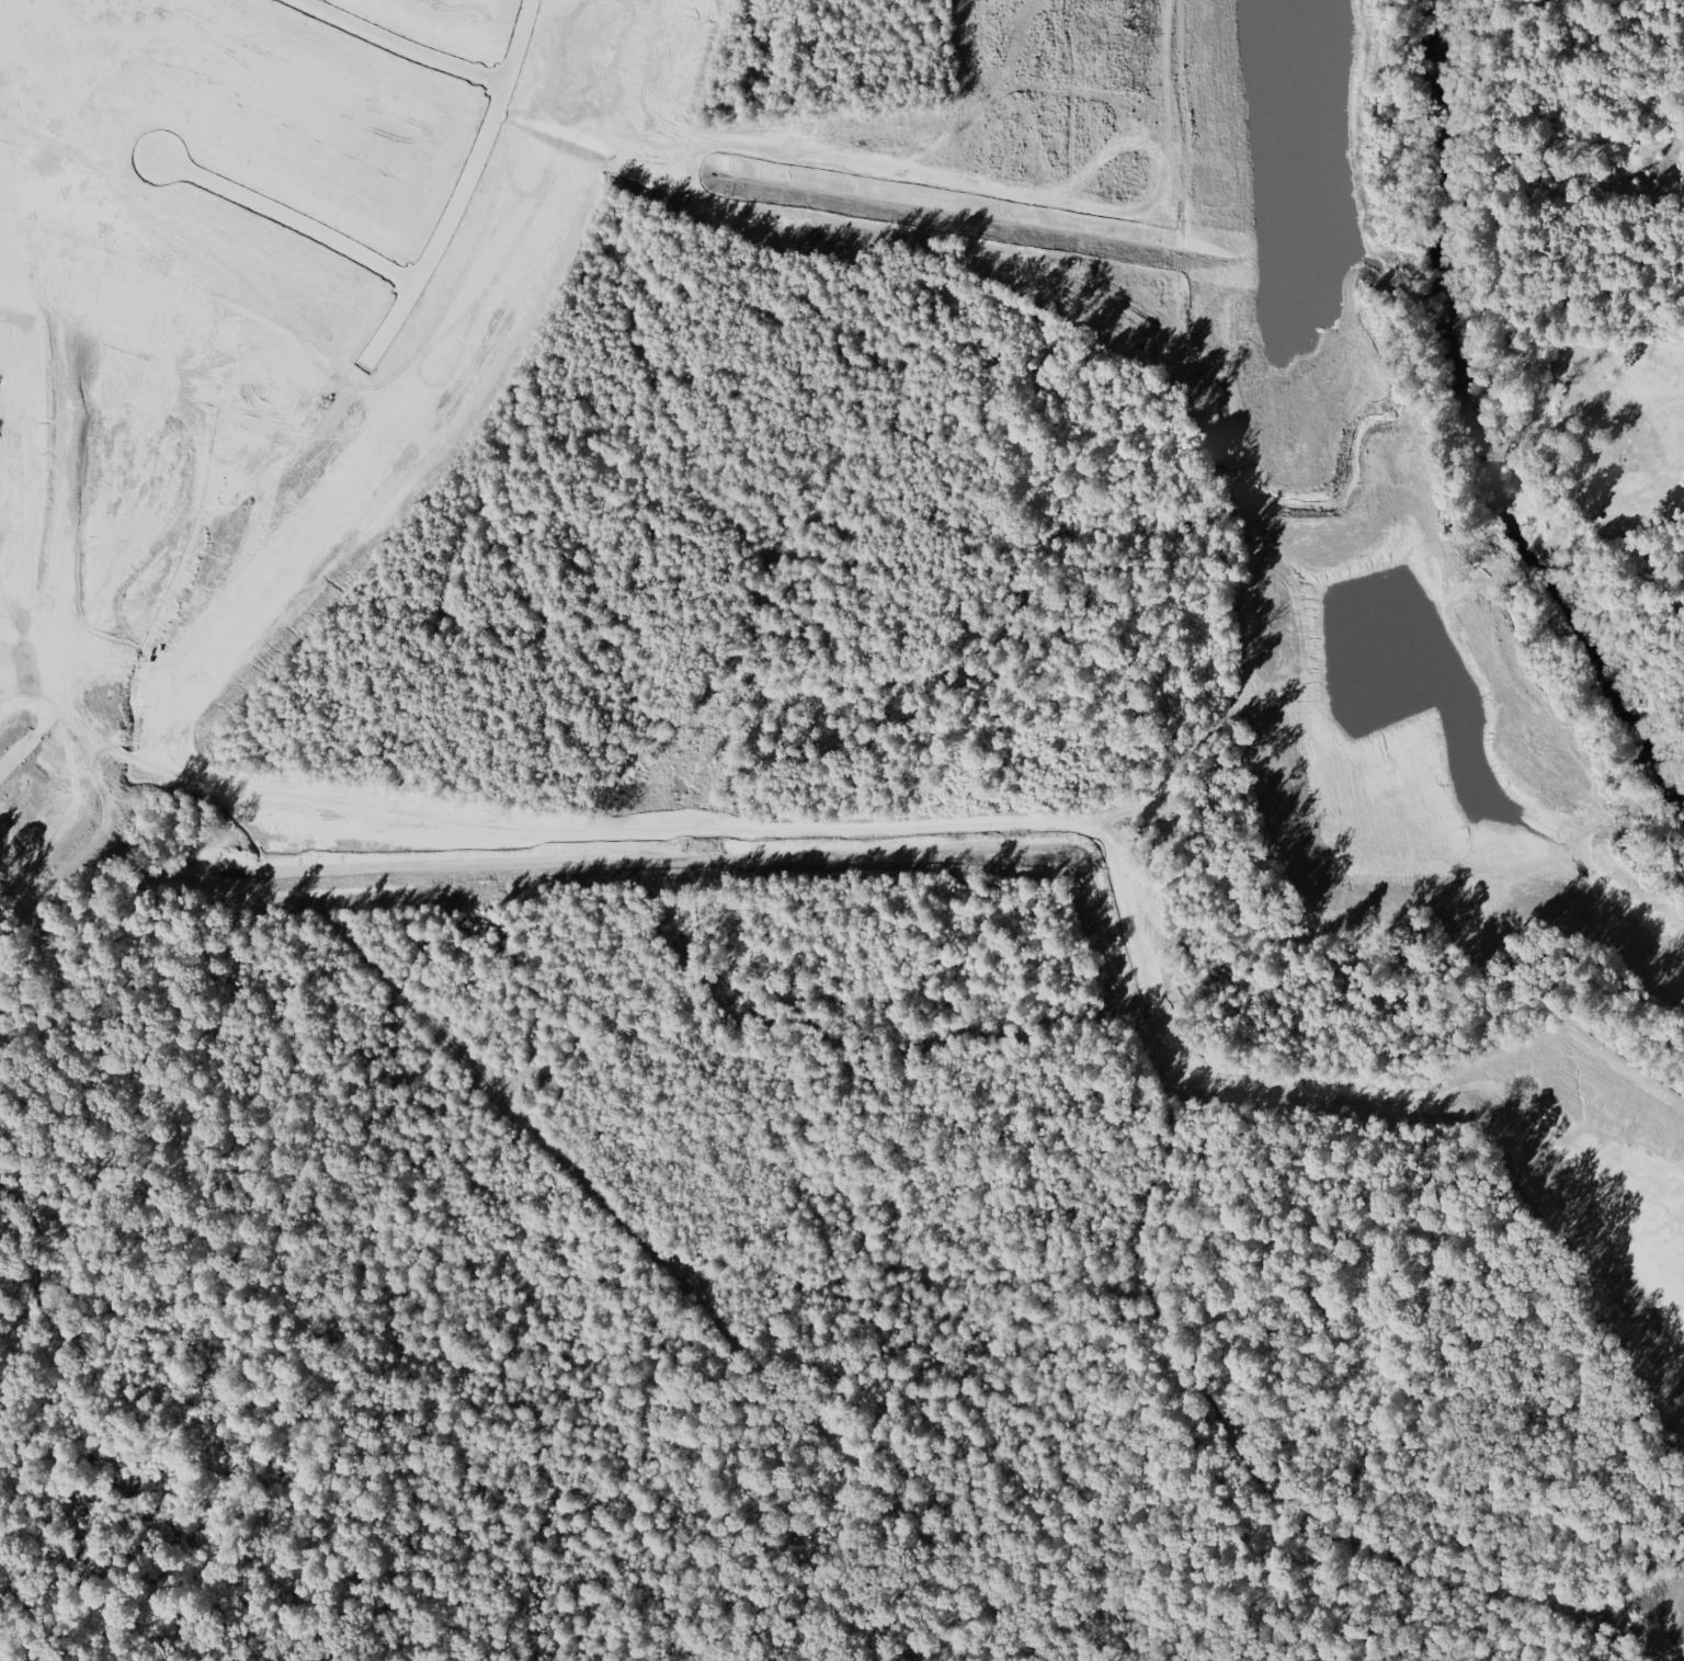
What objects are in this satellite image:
road: (413, 39)
road: (286, 217)
road: (157, 359)
road: (318, 420)
river: (1478, 424)
road: (417, 539)
road: (53, 623)
road: (172, 928)

